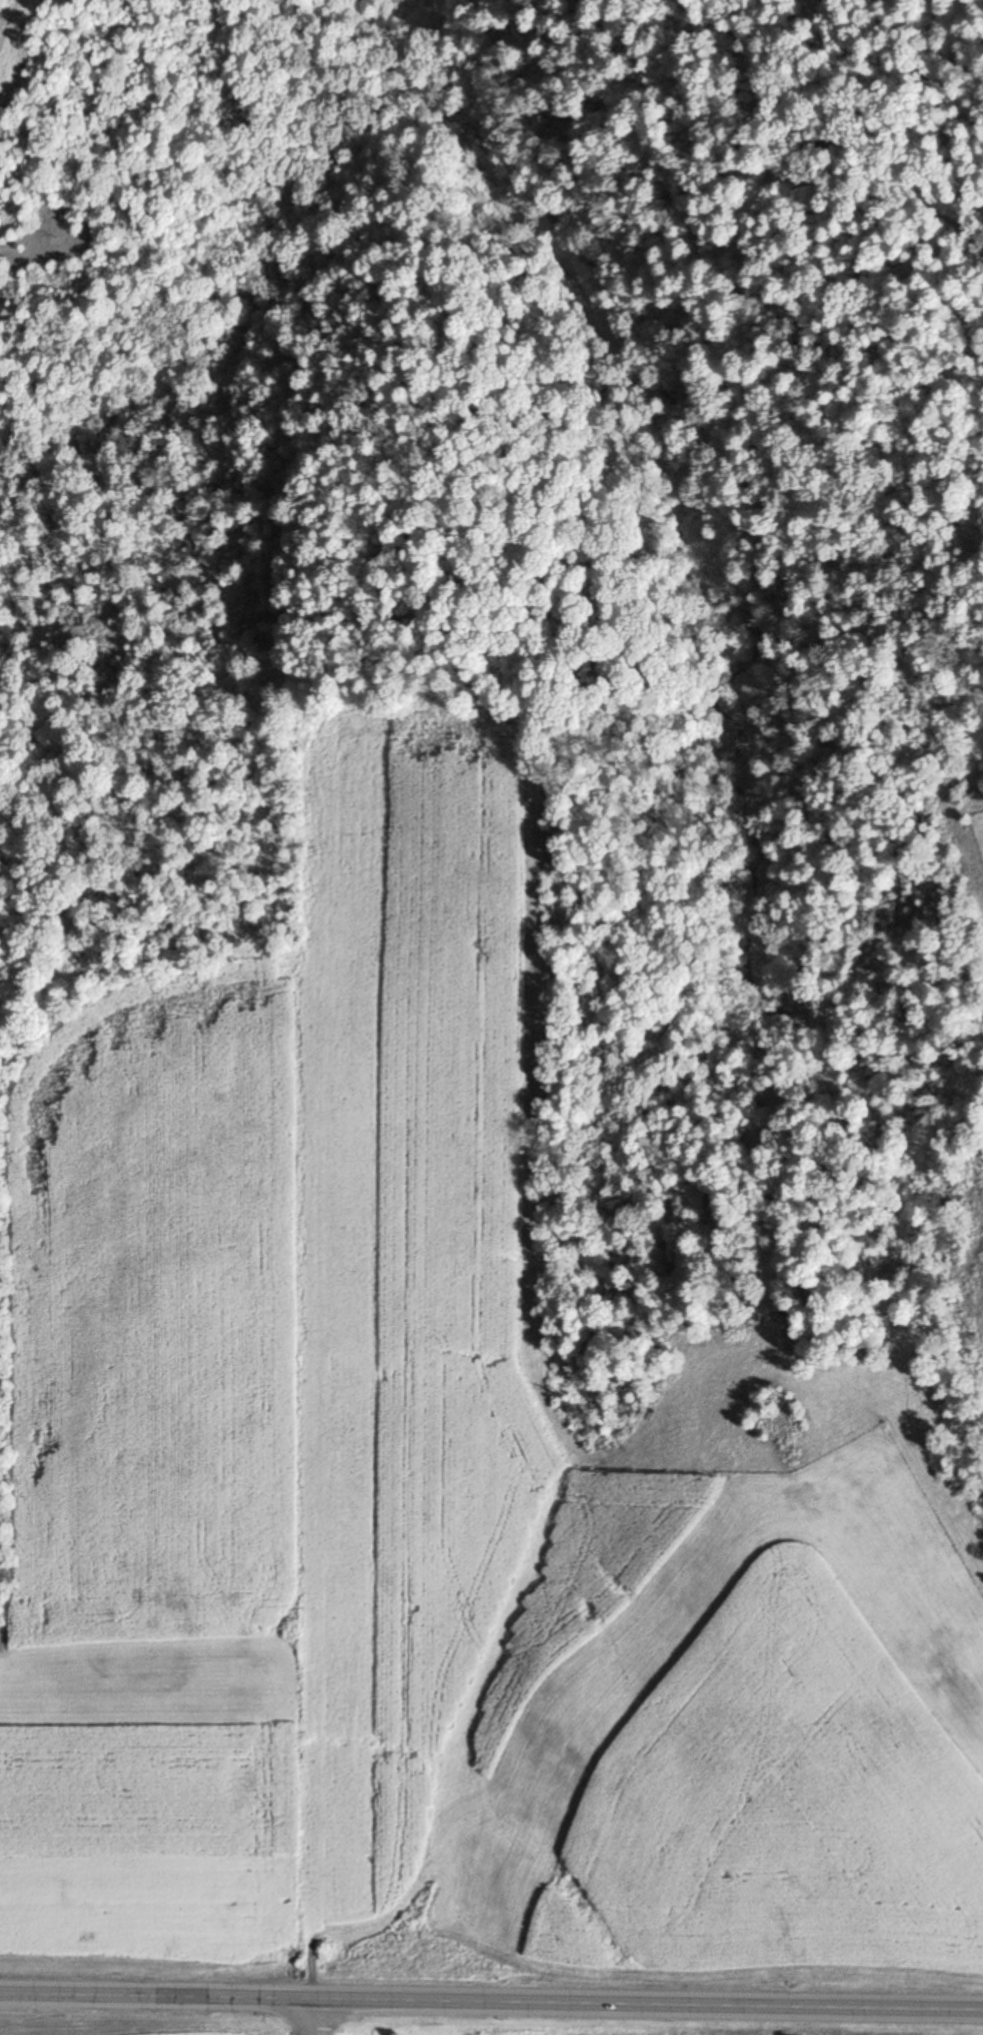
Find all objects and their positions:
road: (157, 1990)
road: (649, 1999)
road: (315, 2013)

